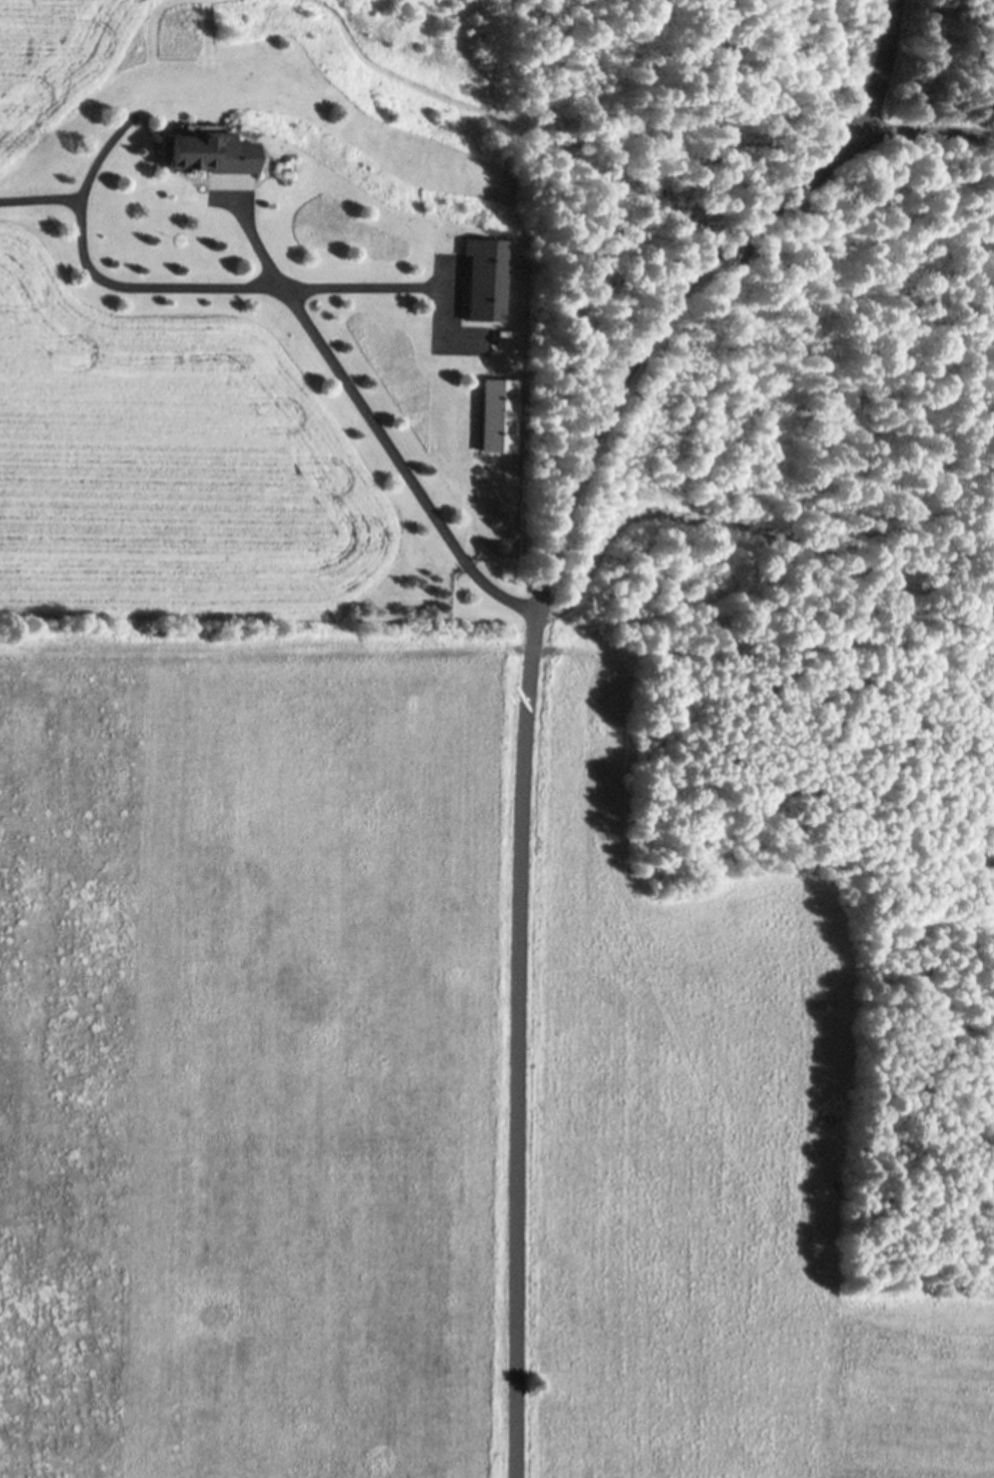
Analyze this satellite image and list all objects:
road: (881, 62)
road: (928, 129)
building: (209, 149)
road: (39, 200)
building: (484, 278)
road: (180, 287)
road: (373, 423)
road: (523, 741)

